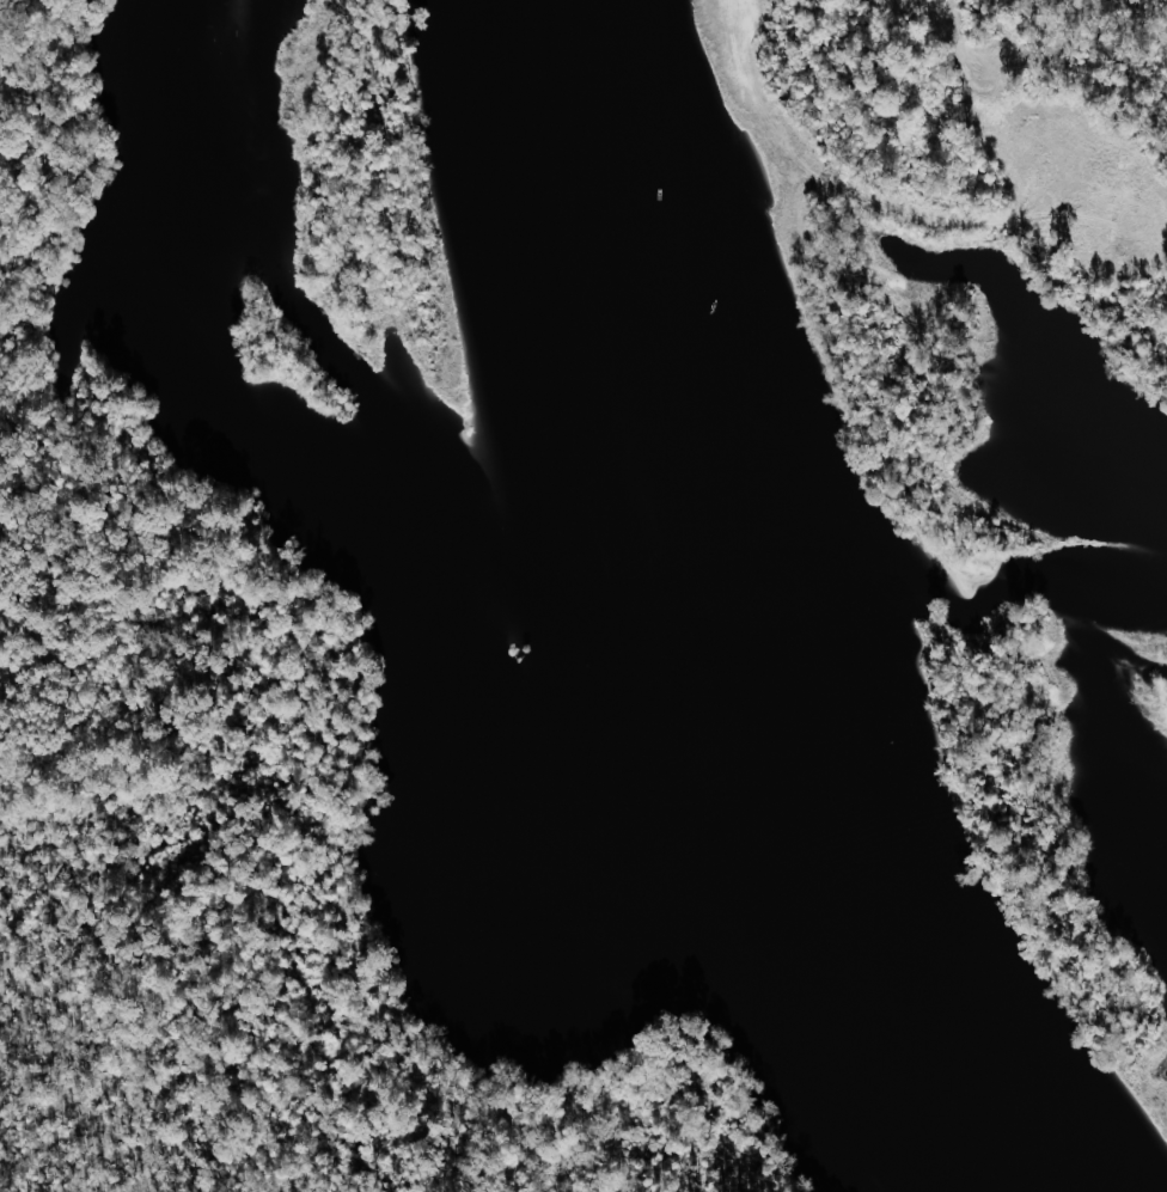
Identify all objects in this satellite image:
road: (909, 8)
road: (4, 11)
road: (22, 149)
road: (14, 261)
road: (24, 408)
road: (102, 488)
road: (145, 514)
road: (287, 610)
river: (691, 658)
road: (310, 783)
park: (232, 811)
road: (80, 1059)
road: (165, 1060)
road: (373, 1095)
road: (434, 1162)

